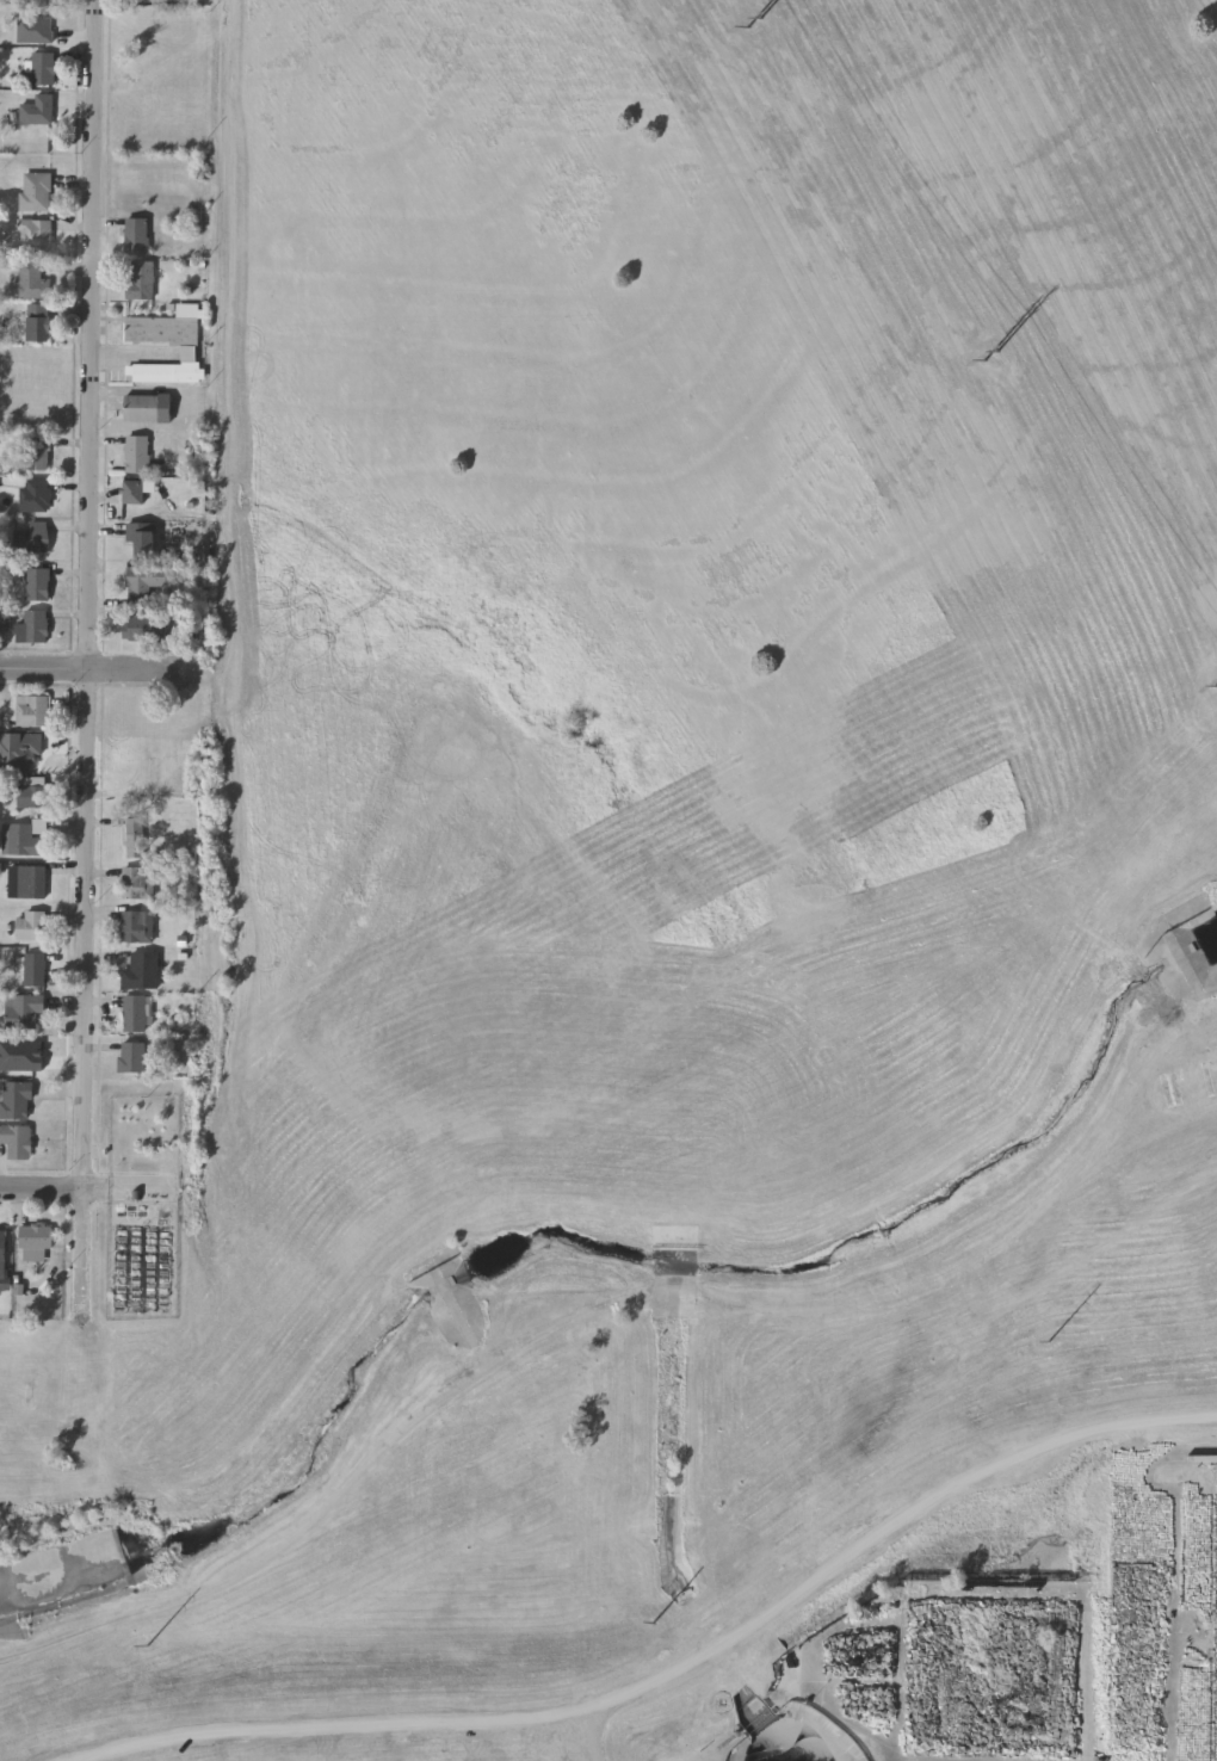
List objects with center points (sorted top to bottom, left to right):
power tower: (755, 24)
building: (43, 67)
building: (39, 117)
building: (36, 190)
building: (35, 234)
building: (137, 234)
building: (32, 279)
building: (142, 279)
building: (38, 322)
building: (192, 356)
power tower: (993, 357)
building: (148, 406)
building: (38, 452)
building: (137, 452)
building: (134, 490)
building: (36, 494)
building: (33, 537)
building: (143, 537)
building: (149, 579)
building: (39, 583)
building: (33, 626)
building: (146, 626)
road: (80, 650)
road: (93, 671)
building: (27, 710)
building: (35, 750)
building: (32, 792)
building: (20, 835)
building: (135, 835)
building: (36, 880)
building: (137, 882)
building: (30, 925)
building: (136, 926)
building: (35, 969)
building: (141, 970)
building: (23, 1009)
building: (134, 1013)
building: (131, 1056)
building: (16, 1099)
building: (17, 1139)
road: (76, 1187)
building: (35, 1242)
building: (2, 1248)
power tower: (1050, 1342)
park: (42, 1426)
power tower: (654, 1625)
power tower: (148, 1646)

